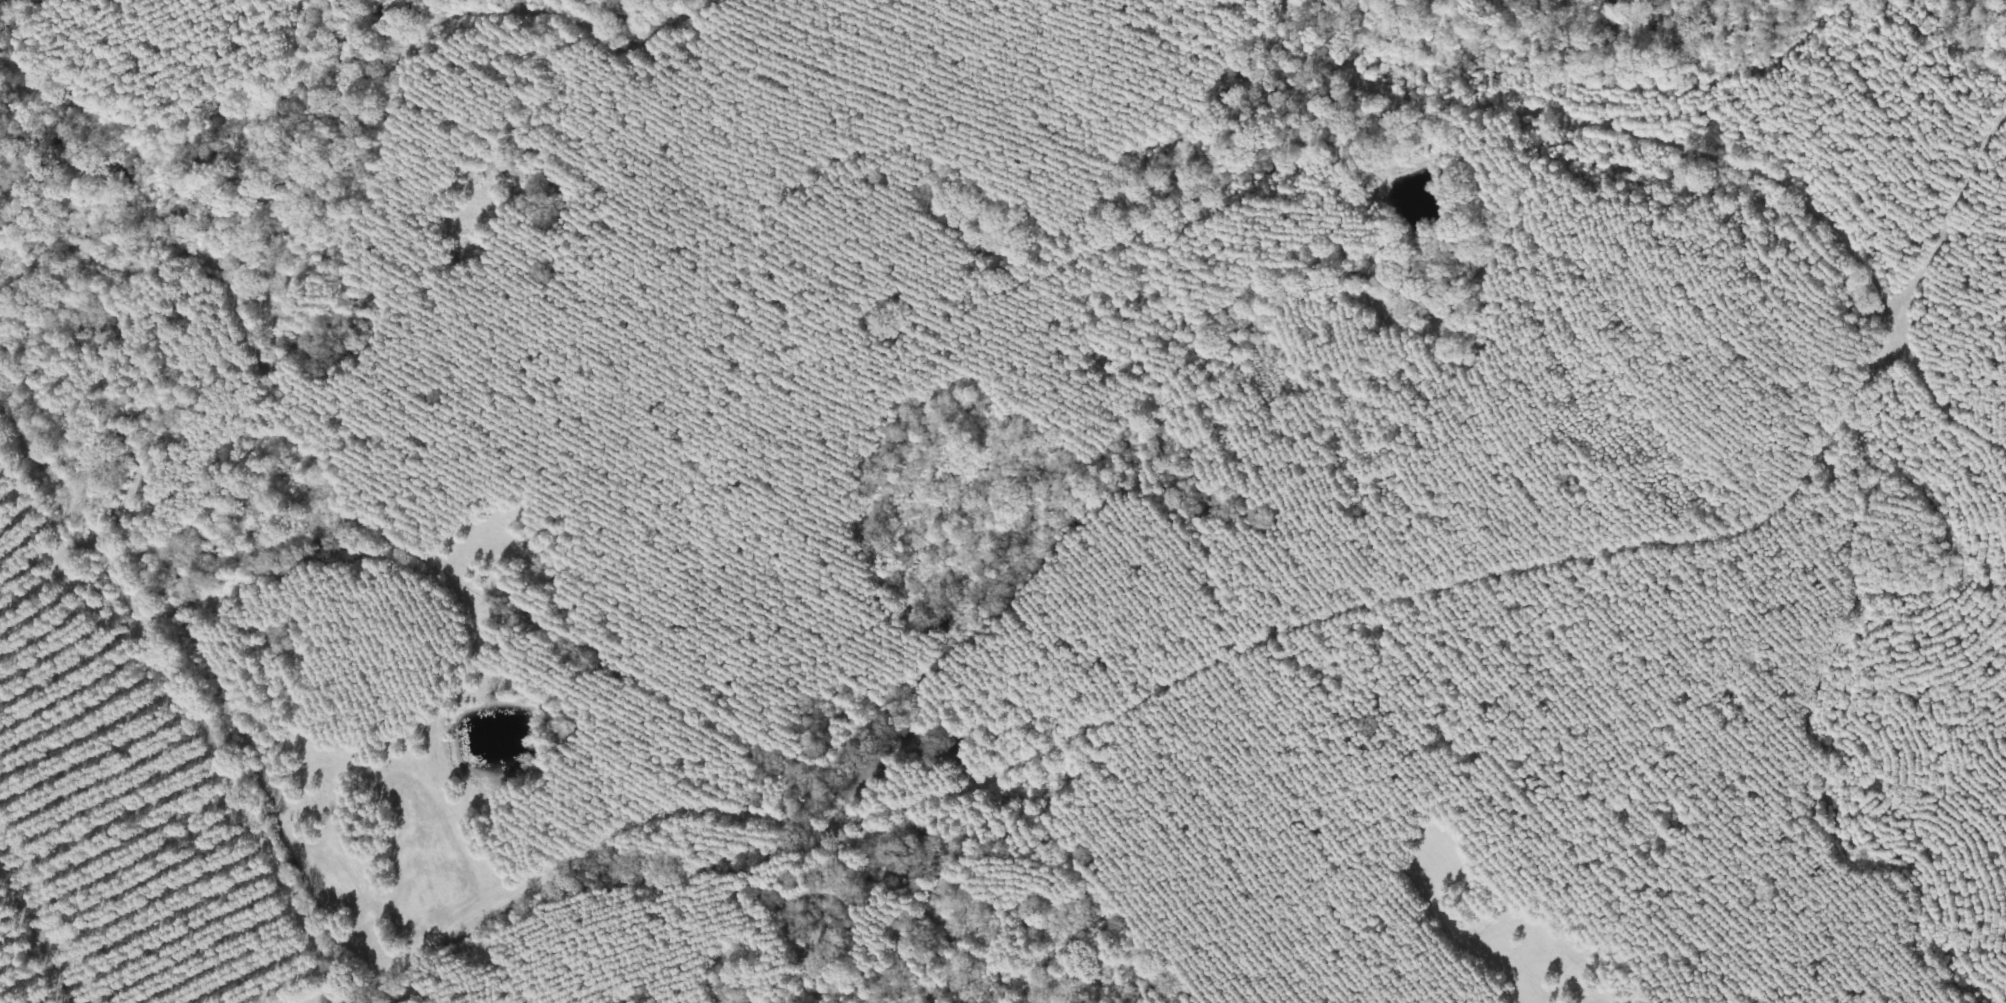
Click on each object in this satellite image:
road: (458, 930)

